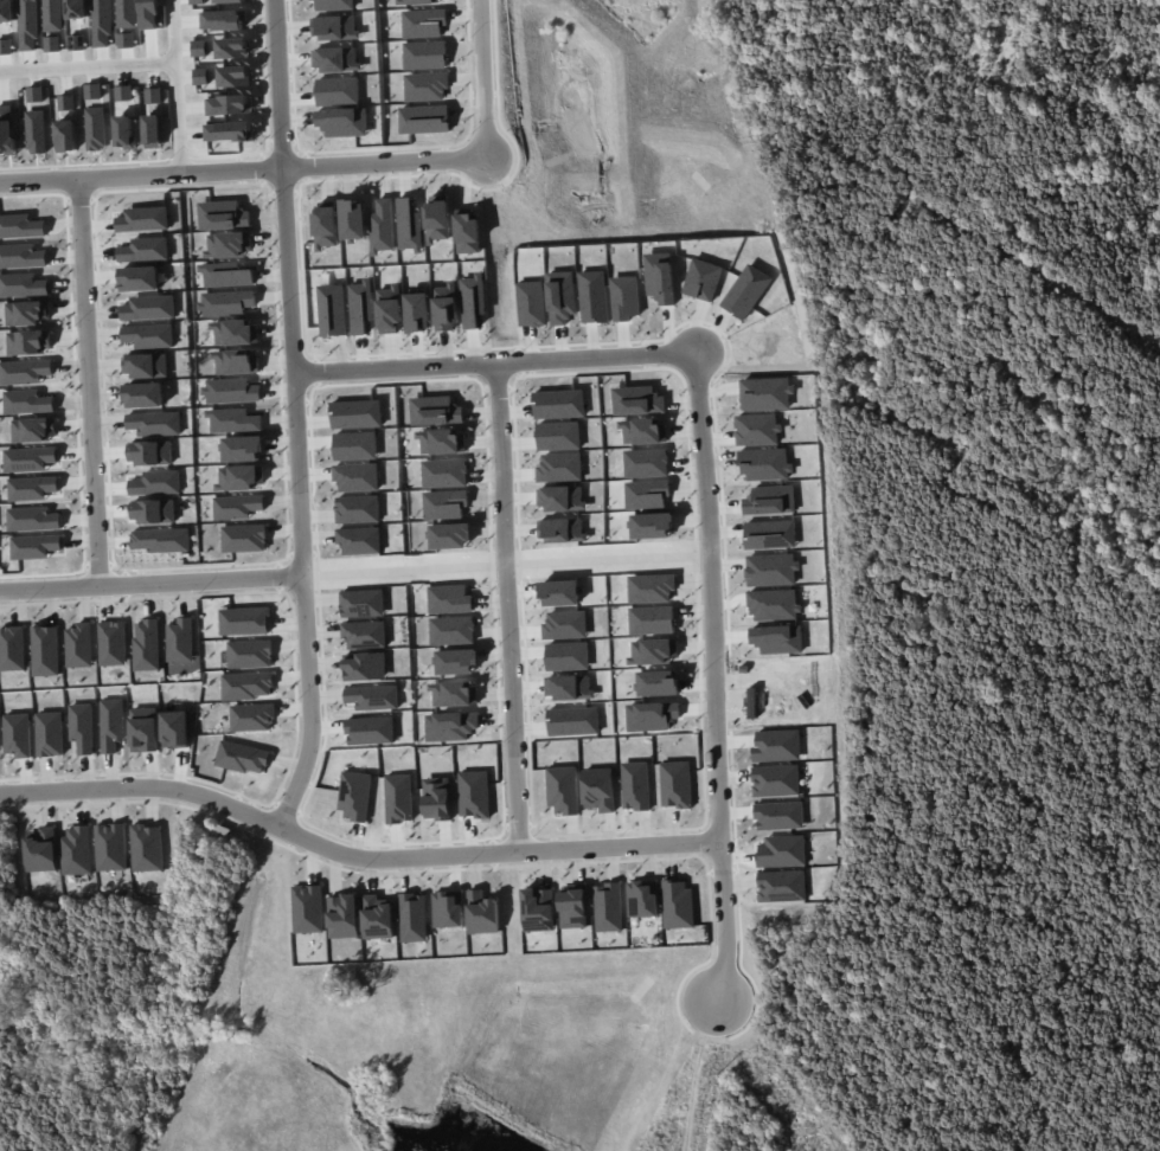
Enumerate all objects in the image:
building: (197, 1)
building: (229, 1)
park: (847, 2)
building: (421, 22)
building: (423, 54)
road: (91, 66)
road: (492, 76)
road: (184, 85)
building: (424, 85)
building: (91, 91)
building: (337, 91)
building: (122, 92)
building: (34, 94)
building: (153, 96)
building: (65, 103)
building: (341, 121)
building: (95, 129)
building: (6, 130)
building: (36, 131)
building: (152, 131)
building: (124, 133)
building: (65, 135)
road: (248, 168)
building: (143, 219)
building: (20, 226)
building: (145, 249)
building: (21, 256)
building: (660, 277)
building: (137, 278)
building: (703, 279)
building: (23, 285)
building: (743, 290)
building: (594, 296)
building: (562, 297)
building: (624, 297)
building: (473, 301)
building: (532, 303)
building: (361, 306)
building: (148, 308)
building: (333, 310)
building: (27, 313)
building: (148, 335)
building: (28, 342)
road: (502, 359)
building: (145, 366)
building: (24, 372)
road: (96, 380)
building: (764, 393)
building: (143, 396)
building: (635, 400)
building: (26, 401)
building: (557, 404)
road: (303, 417)
building: (154, 424)
building: (33, 430)
building: (556, 435)
building: (354, 445)
building: (149, 454)
building: (28, 459)
building: (643, 463)
building: (557, 468)
building: (442, 472)
building: (355, 477)
building: (156, 483)
building: (31, 488)
building: (645, 493)
building: (443, 504)
building: (236, 507)
building: (357, 509)
building: (152, 512)
building: (31, 517)
building: (649, 525)
building: (765, 534)
building: (449, 535)
building: (243, 538)
building: (160, 540)
building: (358, 540)
building: (33, 545)
building: (767, 570)
road: (158, 579)
building: (361, 604)
road: (517, 604)
building: (244, 620)
building: (364, 635)
building: (180, 641)
building: (113, 644)
building: (79, 645)
building: (147, 645)
building: (12, 649)
building: (45, 650)
building: (250, 654)
building: (365, 667)
road: (719, 669)
building: (246, 686)
building: (372, 697)
building: (252, 718)
building: (110, 725)
building: (81, 727)
building: (143, 729)
building: (174, 729)
building: (370, 731)
building: (49, 734)
building: (17, 735)
building: (775, 746)
building: (242, 758)
building: (775, 780)
building: (674, 784)
building: (635, 785)
building: (562, 789)
building: (598, 790)
building: (474, 795)
building: (354, 796)
building: (398, 798)
building: (436, 798)
building: (778, 815)
building: (110, 848)
building: (147, 848)
building: (41, 850)
building: (76, 850)
road: (358, 851)
building: (781, 851)
building: (781, 886)
building: (642, 899)
building: (677, 904)
building: (572, 907)
building: (608, 907)
building: (307, 909)
building: (448, 909)
building: (538, 909)
building: (482, 913)
building: (342, 917)
building: (412, 917)
building: (377, 918)
road: (706, 1072)
road: (774, 1084)

